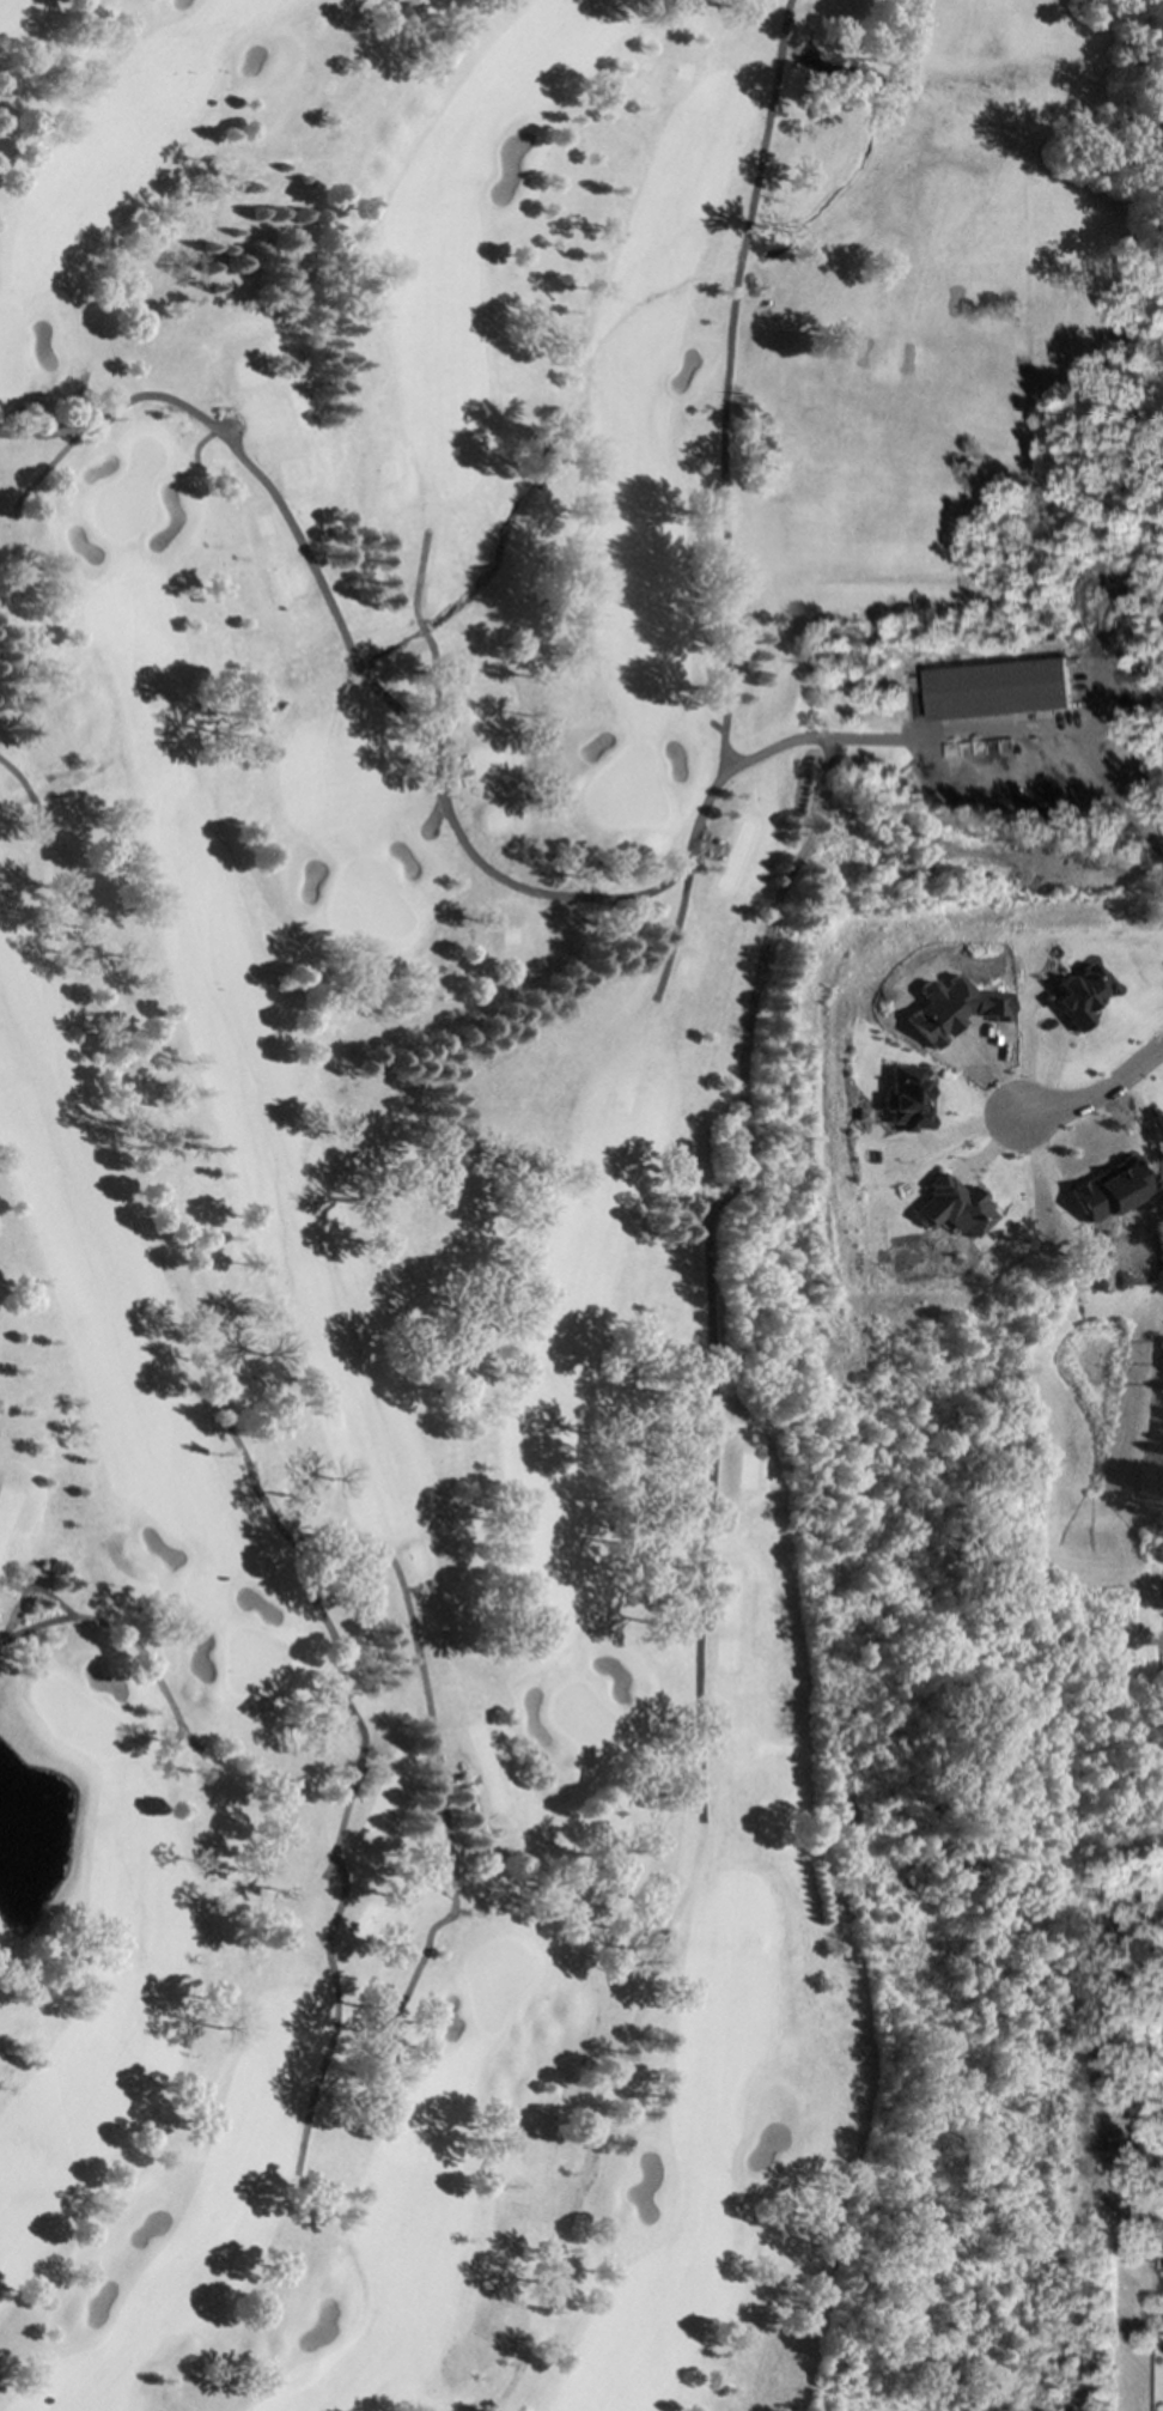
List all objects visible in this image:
road: (724, 381)
road: (73, 407)
road: (199, 444)
road: (49, 464)
road: (427, 642)
building: (997, 688)
road: (713, 727)
road: (434, 754)
road: (1095, 765)
road: (28, 792)
road: (434, 814)
road: (674, 927)
building: (1072, 995)
building: (951, 1008)
road: (1097, 1095)
building: (907, 1098)
park: (489, 1107)
building: (1101, 1190)
building: (950, 1205)
road: (708, 1317)
road: (31, 1586)
road: (128, 1636)
road: (355, 1784)
road: (443, 1794)
road: (331, 1863)
building: (439, 1873)

